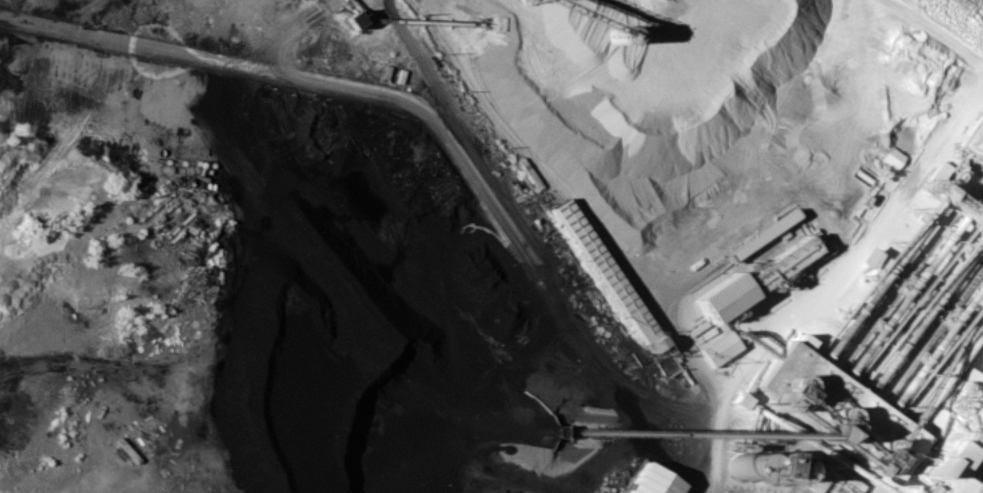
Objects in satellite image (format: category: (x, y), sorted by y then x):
building: (723, 297)
building: (952, 448)
building: (650, 481)
railway: (977, 487)

